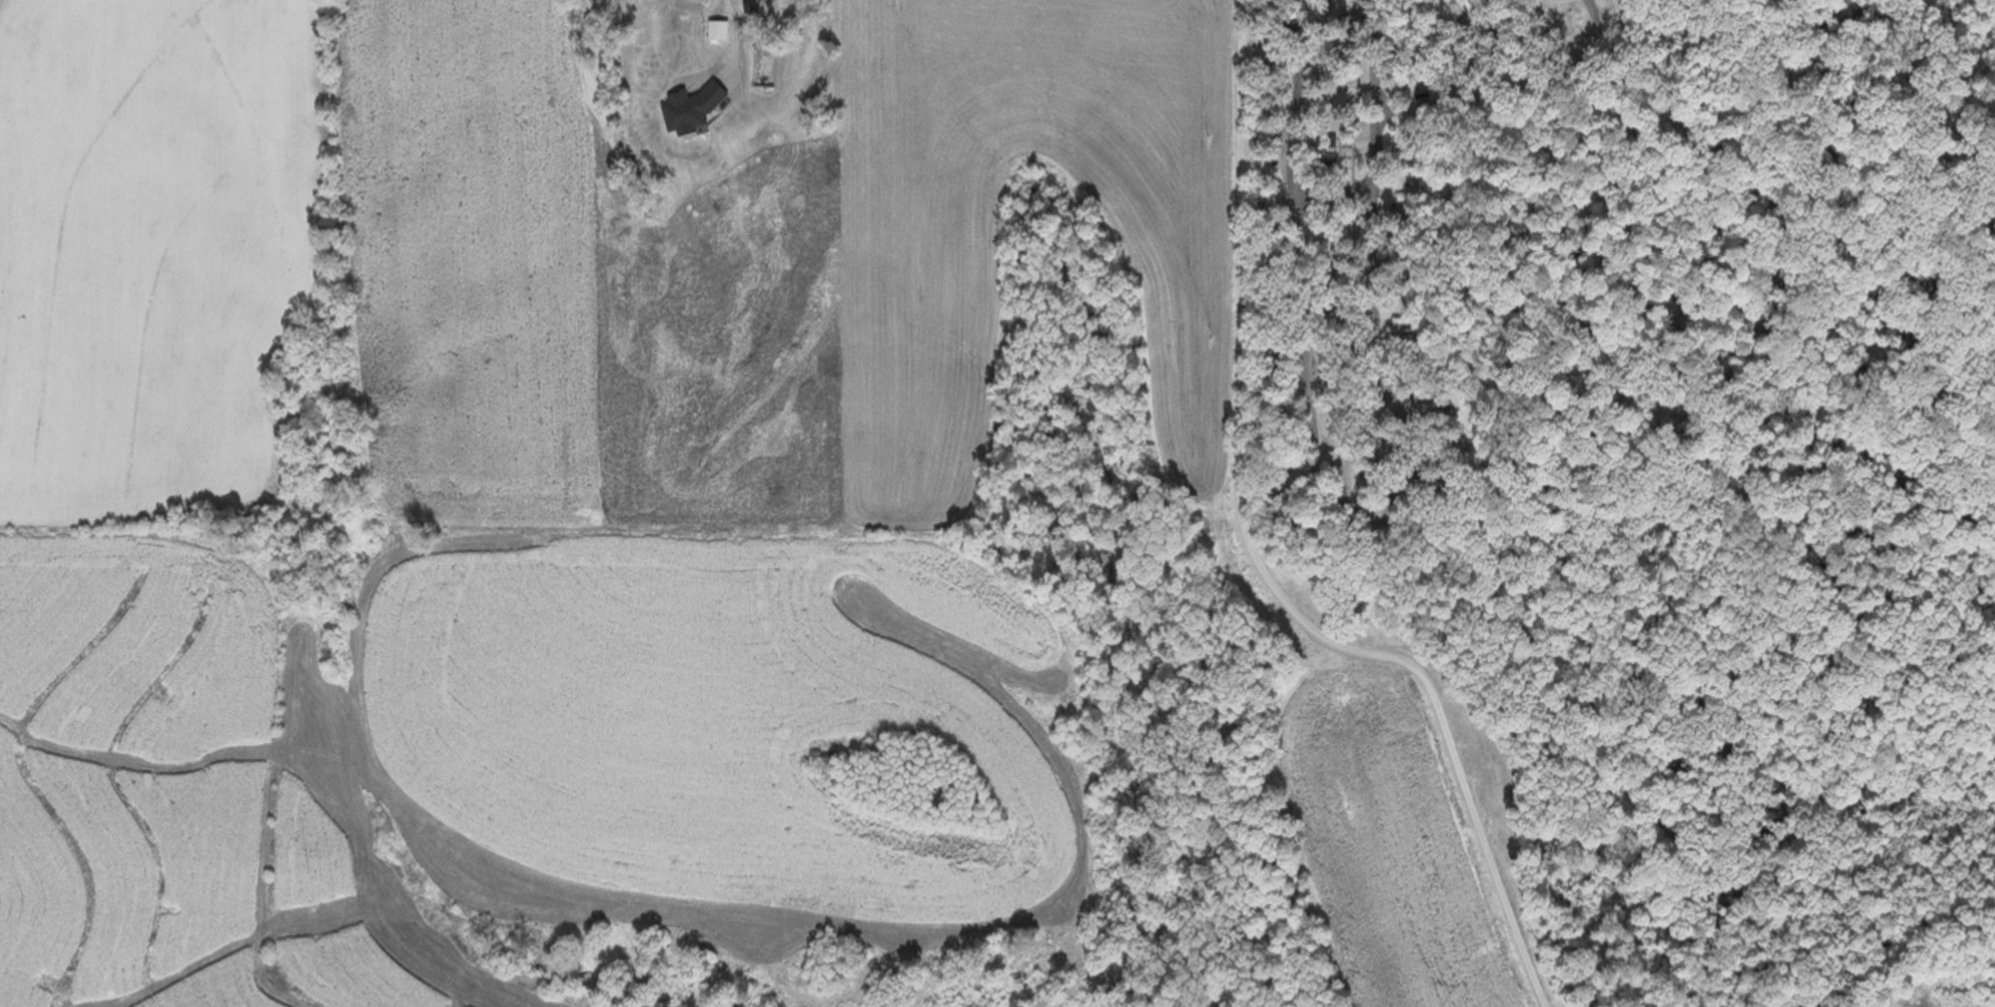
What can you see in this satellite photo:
building: (644, 4)
road: (1321, 4)
building: (715, 32)
road: (1484, 75)
building: (1405, 192)
building: (1430, 400)
road: (1337, 484)
road: (1256, 562)
building: (818, 761)

